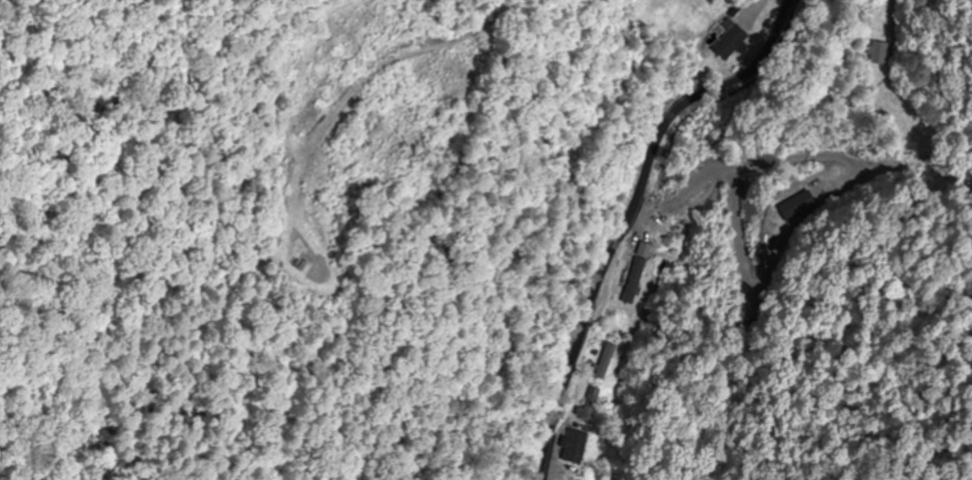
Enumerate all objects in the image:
building: (726, 42)
building: (878, 53)
building: (795, 206)
road: (628, 213)
building: (635, 285)
building: (604, 361)
building: (588, 405)
building: (570, 447)

